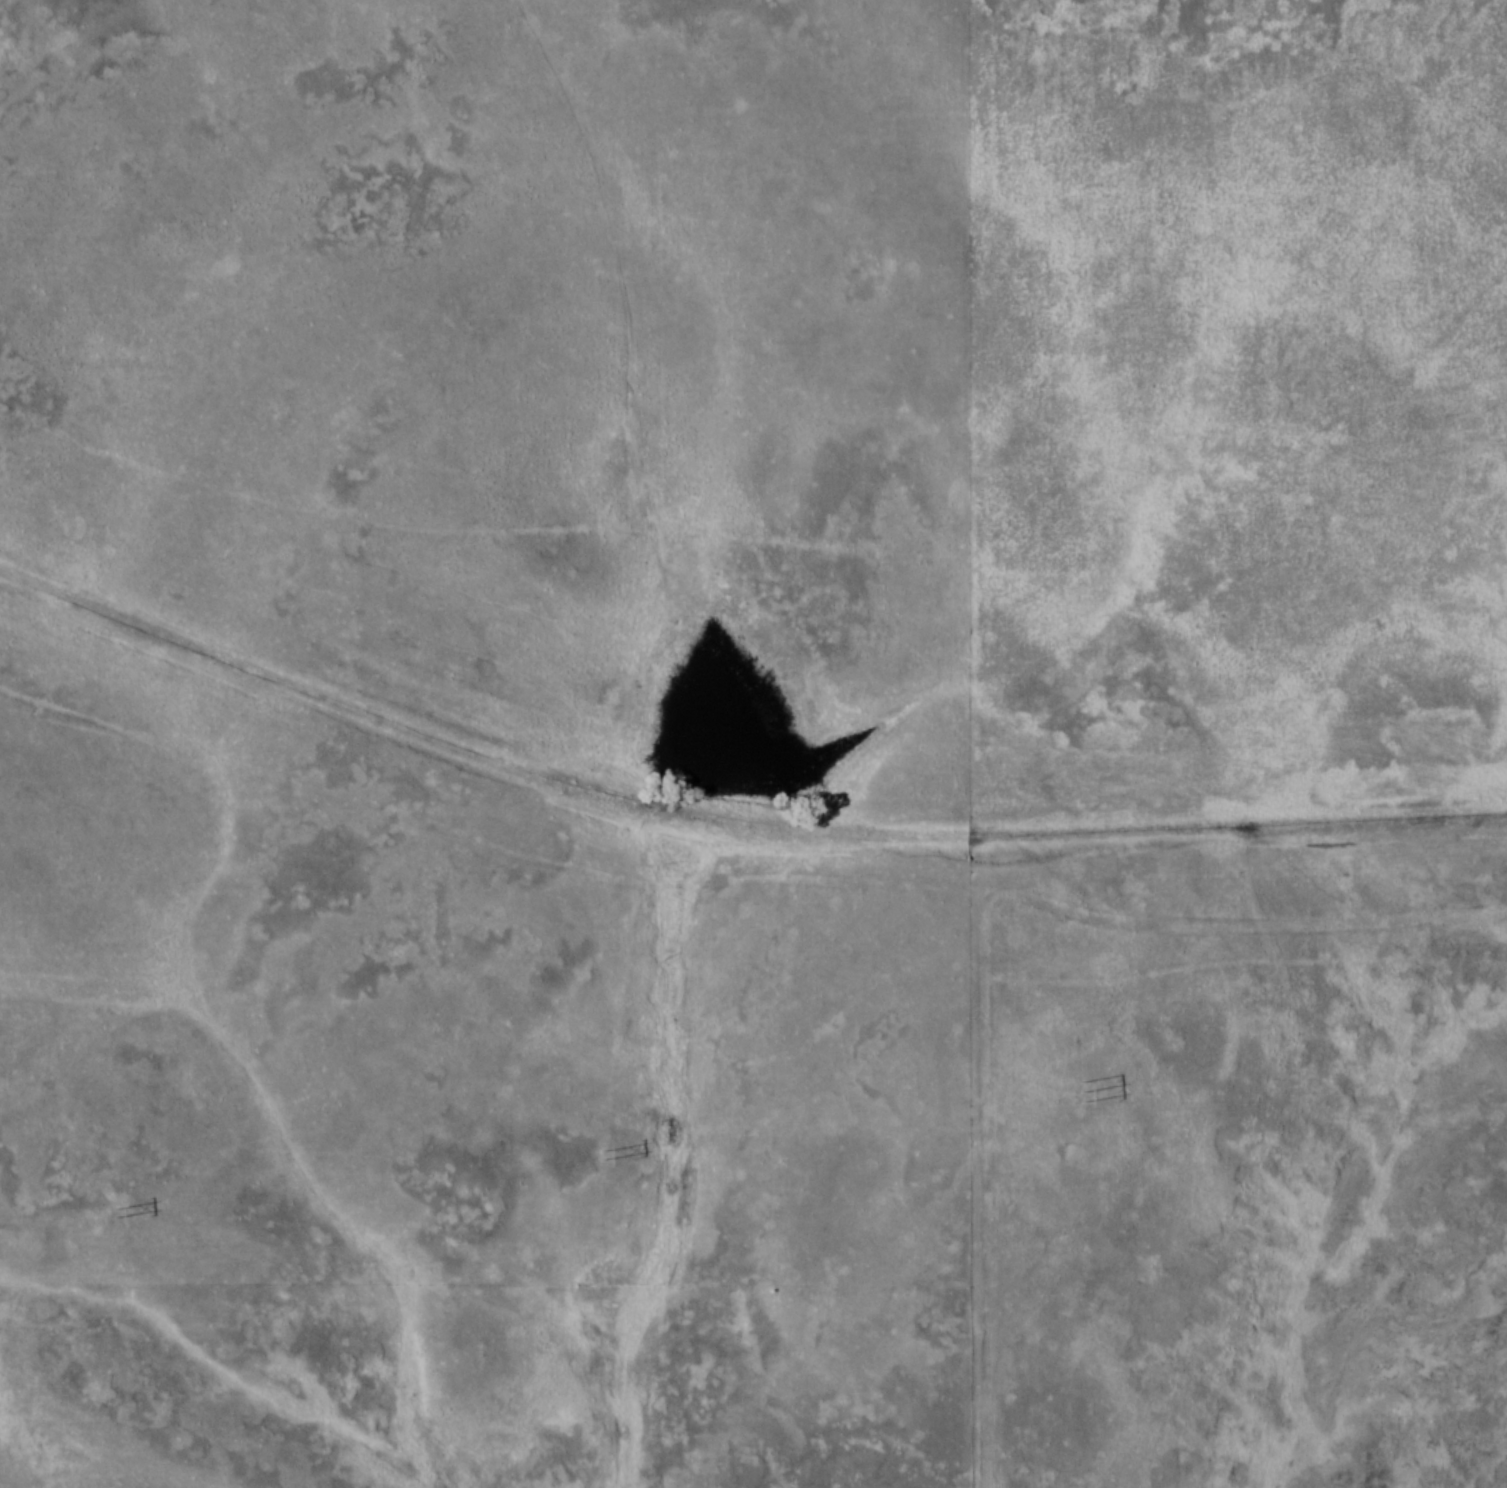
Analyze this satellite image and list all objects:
power tower: (1084, 1094)
power tower: (602, 1156)
power tower: (113, 1214)

